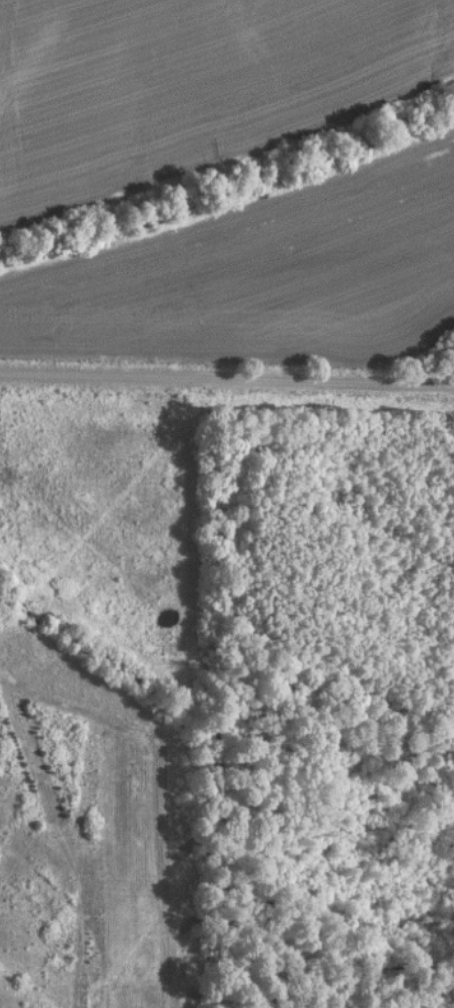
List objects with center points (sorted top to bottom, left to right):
road: (226, 383)

